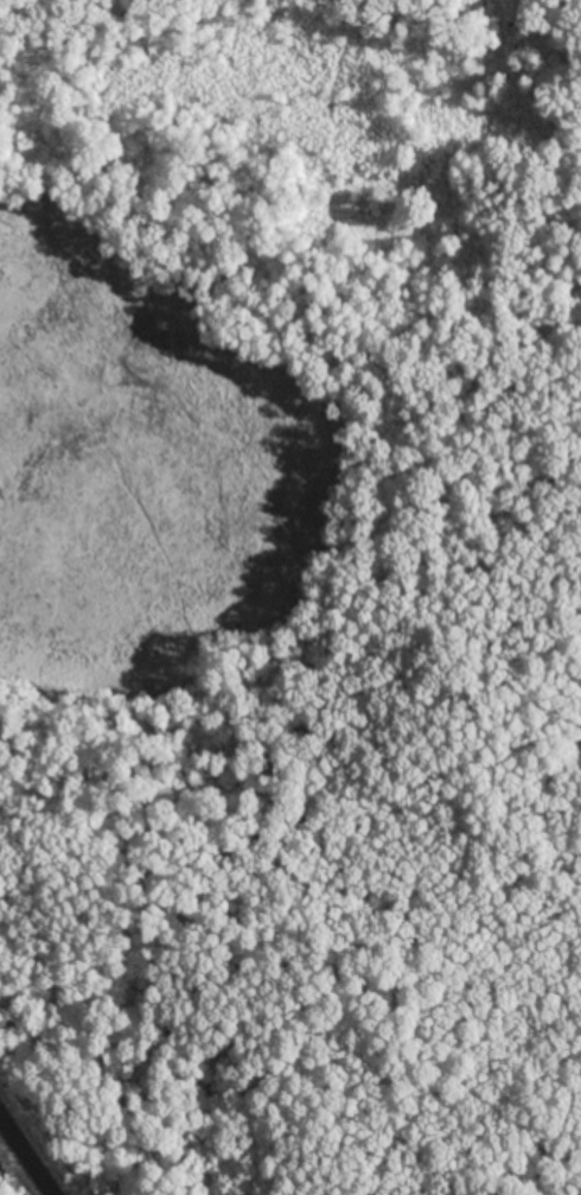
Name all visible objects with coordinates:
road: (32, 1146)

